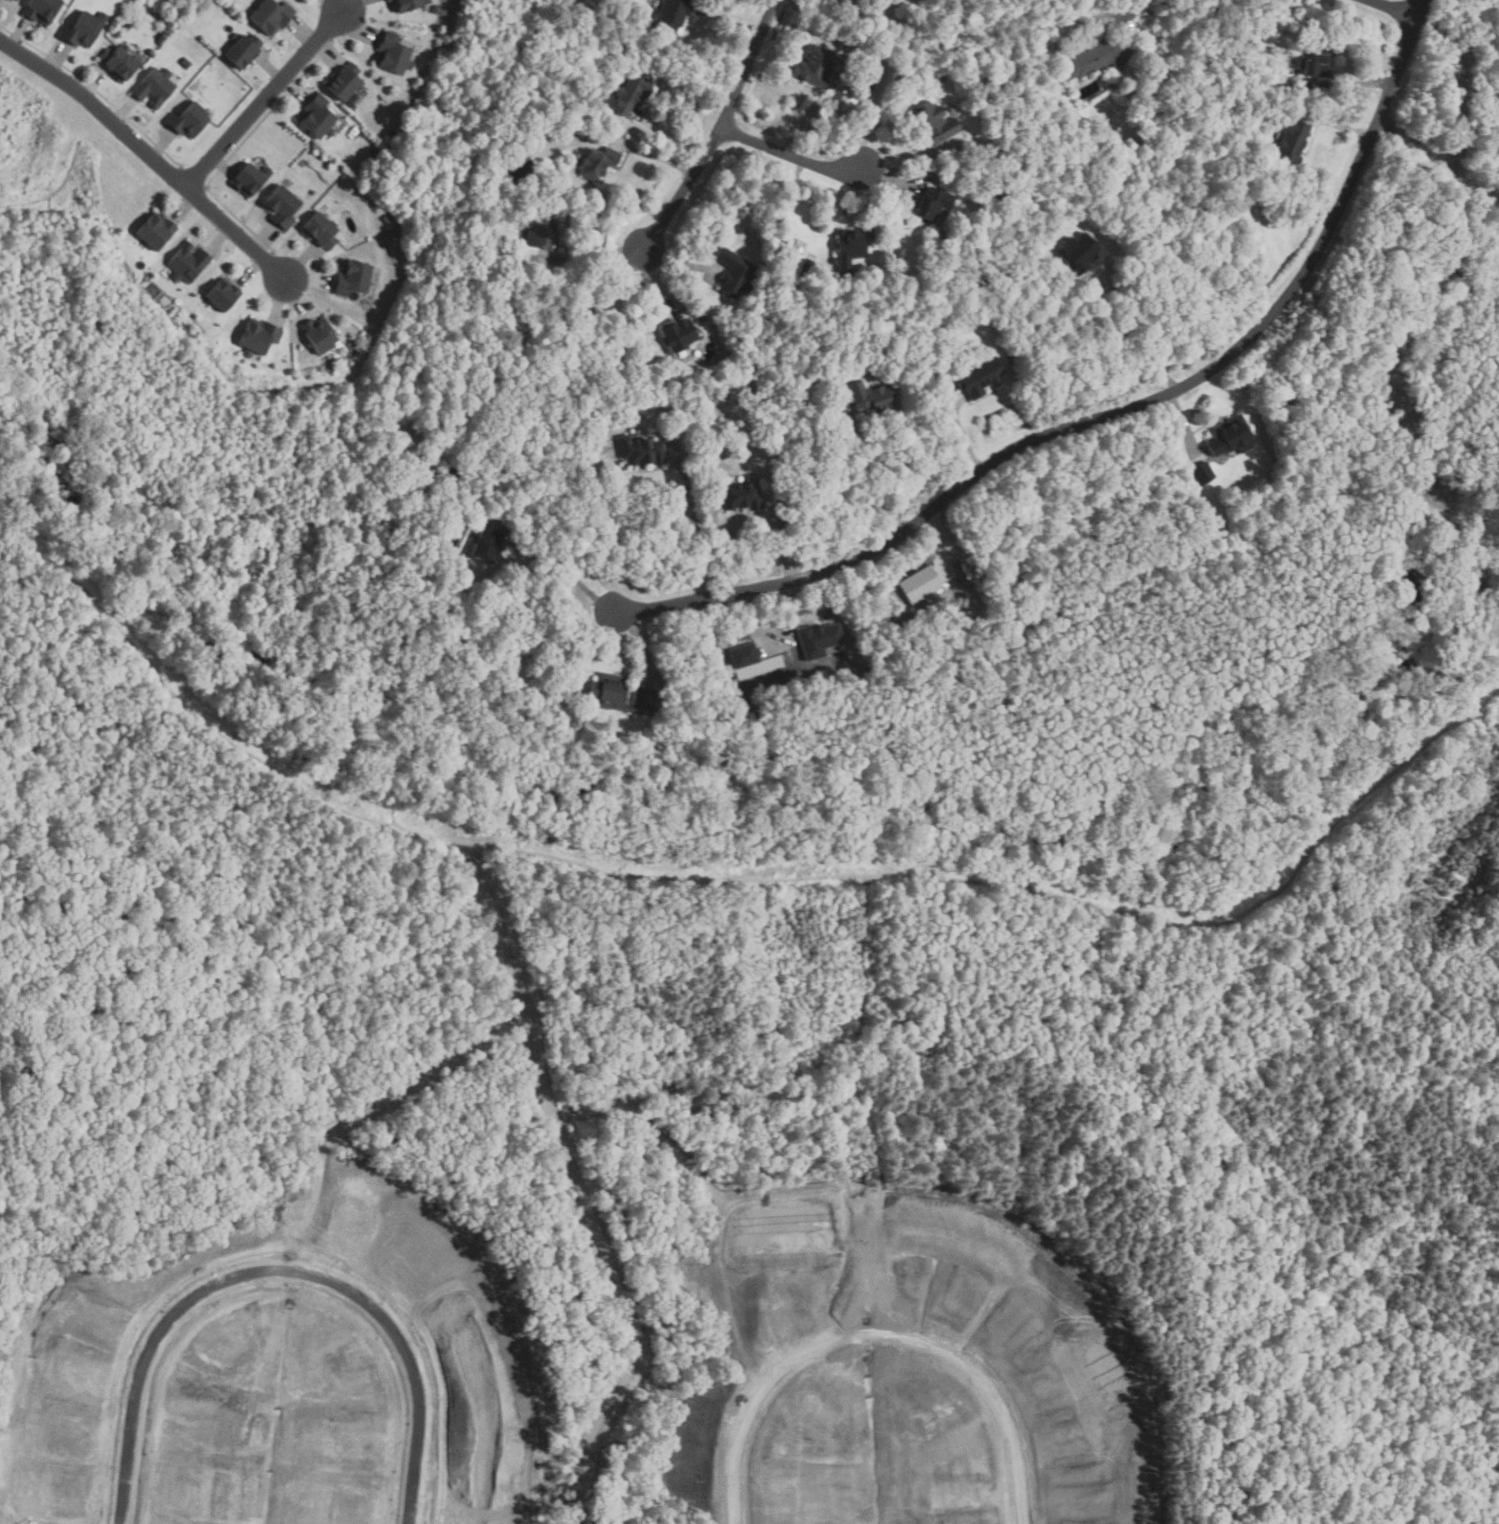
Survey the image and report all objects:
building: (7, 1)
building: (411, 4)
building: (436, 9)
road: (1394, 9)
building: (41, 10)
building: (674, 13)
building: (272, 15)
road: (1103, 15)
building: (163, 19)
building: (83, 29)
building: (242, 49)
building: (394, 55)
building: (1097, 58)
building: (1315, 59)
building: (121, 61)
building: (185, 62)
building: (817, 66)
building: (928, 76)
building: (344, 81)
building: (154, 86)
building: (1294, 88)
building: (632, 92)
road: (263, 98)
building: (438, 109)
building: (317, 116)
building: (188, 120)
building: (934, 123)
road: (716, 131)
building: (1293, 139)
road: (787, 153)
road: (148, 155)
road: (648, 155)
building: (599, 162)
building: (984, 162)
building: (520, 169)
building: (249, 179)
building: (1001, 197)
building: (934, 203)
building: (282, 207)
building: (388, 218)
building: (321, 230)
building: (155, 231)
building: (541, 232)
building: (849, 248)
building: (1079, 252)
building: (187, 263)
building: (806, 268)
building: (734, 274)
building: (353, 278)
building: (223, 294)
building: (701, 318)
building: (939, 325)
building: (678, 334)
building: (319, 336)
building: (258, 337)
road: (1129, 341)
building: (980, 377)
building: (872, 398)
road: (1113, 415)
building: (1231, 436)
building: (641, 451)
road: (867, 473)
building: (1203, 473)
building: (450, 476)
building: (742, 496)
road: (695, 525)
building: (487, 543)
road: (568, 573)
building: (920, 584)
building: (818, 639)
building: (744, 656)
building: (609, 691)
building: (644, 702)
building: (345, 1234)
building: (413, 1266)
road: (282, 1273)
building: (101, 1317)
building: (458, 1330)
road: (881, 1336)
building: (228, 1341)
building: (346, 1366)
building: (89, 1373)
building: (479, 1395)
building: (180, 1422)
building: (82, 1430)
building: (361, 1439)
building: (473, 1462)
building: (184, 1480)
building: (80, 1496)
building: (356, 1501)
building: (467, 1514)

